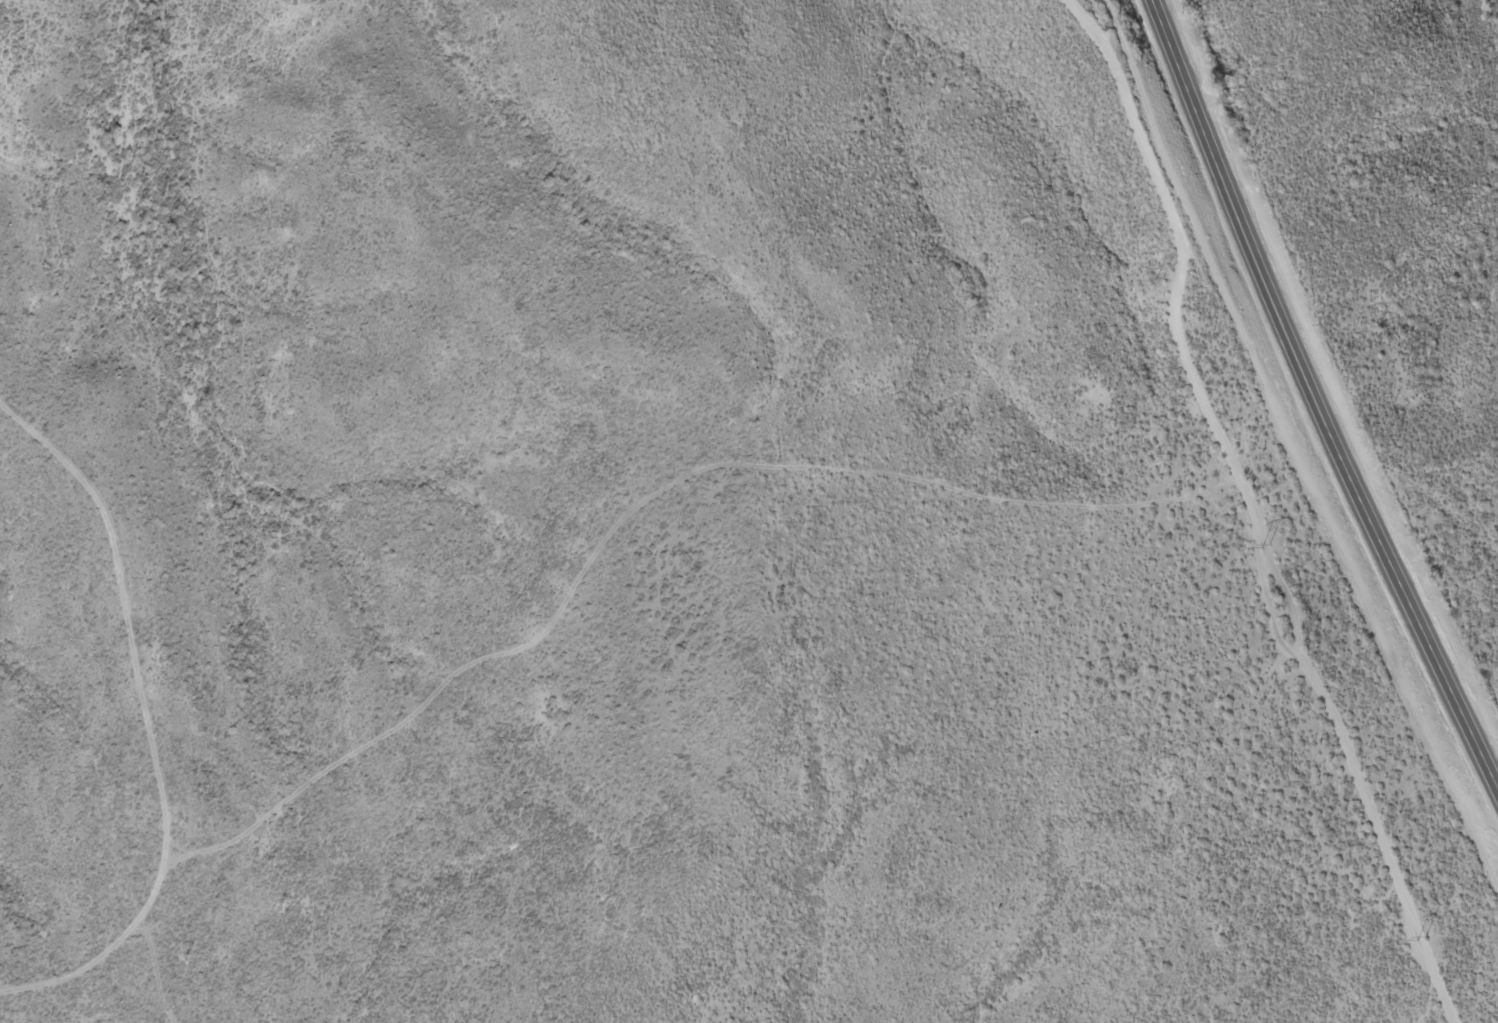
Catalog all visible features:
power tower: (1158, 280)
road: (1318, 392)
power tower: (1264, 548)
road: (151, 721)
power tower: (1414, 941)

